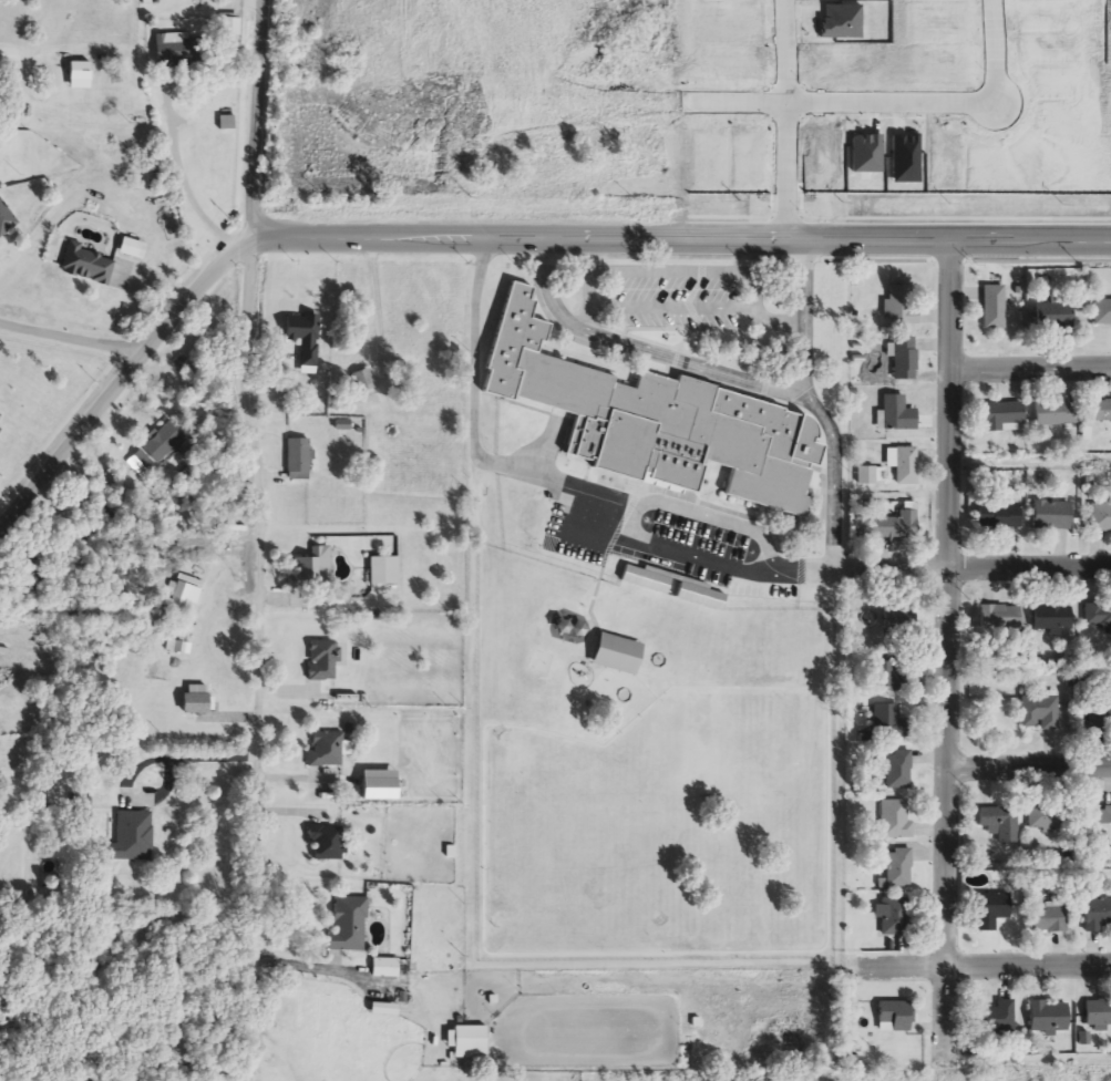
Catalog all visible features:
building: (229, 28)
building: (179, 51)
building: (78, 76)
road: (938, 103)
road: (781, 119)
building: (225, 124)
road: (185, 178)
building: (6, 219)
road: (682, 236)
building: (88, 266)
road: (690, 271)
building: (899, 307)
road: (676, 308)
building: (995, 309)
building: (1101, 315)
building: (1051, 317)
road: (74, 341)
road: (641, 349)
building: (903, 359)
road: (1032, 370)
building: (363, 382)
road: (125, 384)
road: (815, 406)
building: (1098, 413)
building: (1053, 415)
building: (896, 416)
building: (1001, 419)
building: (0, 422)
building: (654, 422)
building: (163, 443)
building: (299, 461)
building: (906, 467)
building: (872, 477)
road: (563, 480)
building: (997, 517)
building: (1051, 517)
building: (1100, 518)
building: (886, 528)
road: (263, 538)
road: (687, 553)
road: (976, 567)
building: (30, 569)
building: (384, 572)
building: (309, 574)
building: (672, 588)
building: (1097, 618)
building: (999, 619)
building: (1049, 619)
building: (898, 622)
road: (951, 641)
building: (615, 655)
building: (323, 661)
building: (888, 677)
building: (1040, 714)
building: (1099, 718)
building: (889, 722)
building: (326, 751)
road: (181, 753)
road: (1031, 766)
building: (897, 772)
building: (81, 810)
building: (1050, 819)
building: (896, 820)
building: (1000, 823)
building: (1098, 823)
building: (131, 837)
building: (326, 843)
building: (898, 869)
building: (991, 910)
building: (1098, 916)
building: (894, 918)
building: (1048, 919)
building: (347, 927)
road: (983, 967)
building: (388, 970)
building: (382, 1011)
building: (1098, 1013)
building: (895, 1017)
building: (1048, 1018)
building: (997, 1019)
building: (470, 1044)

